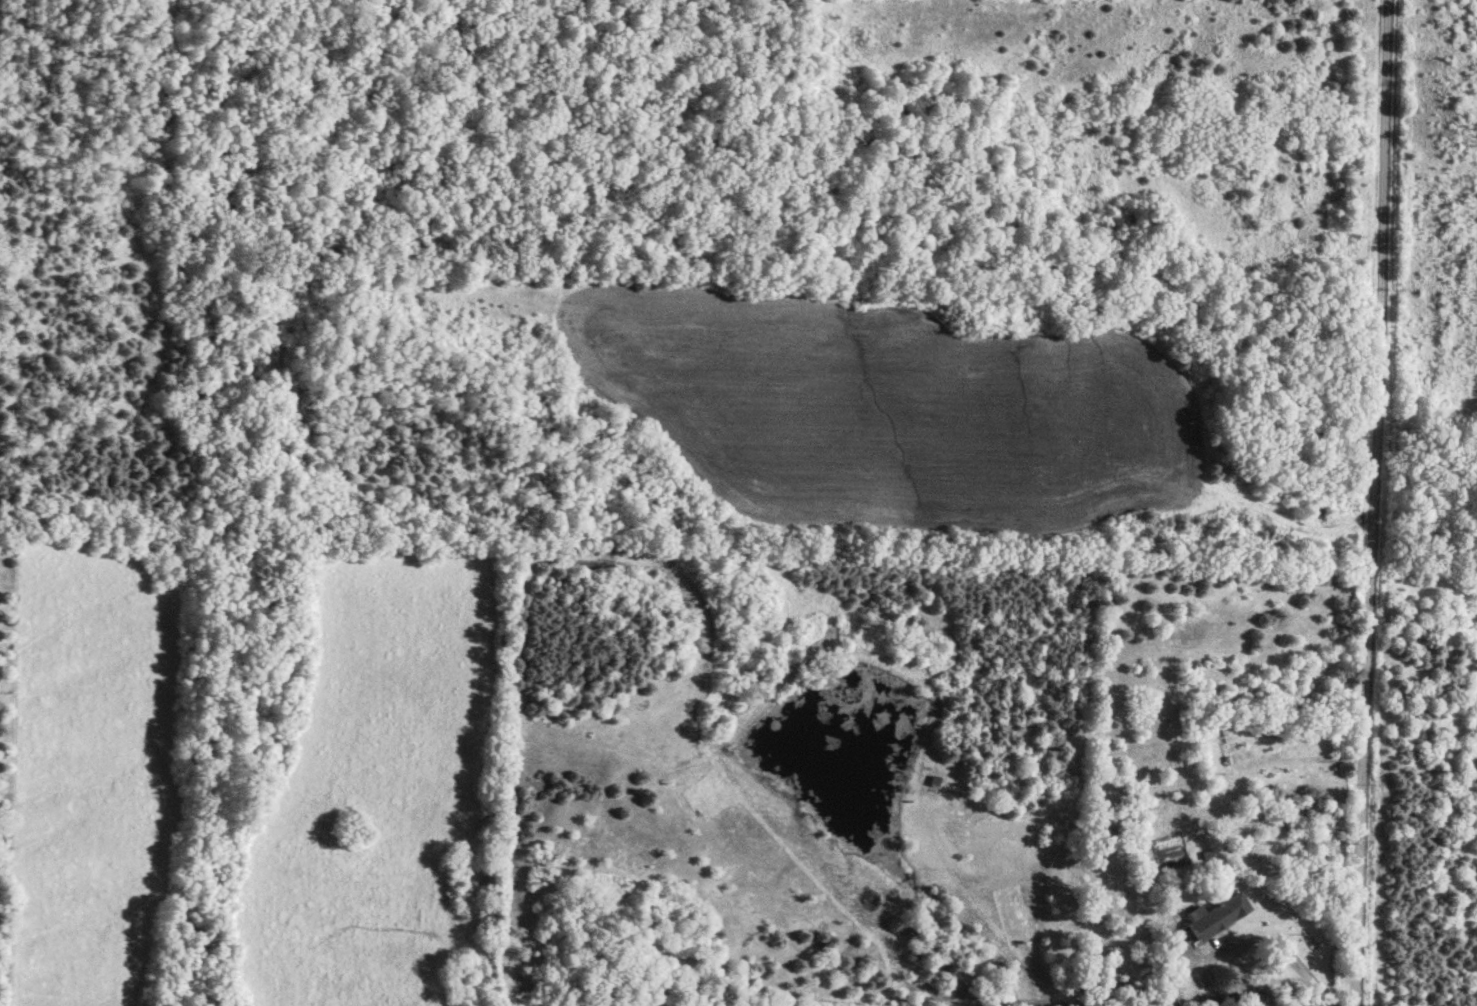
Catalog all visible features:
road: (1374, 503)
road: (1305, 757)
building: (1212, 915)
road: (1281, 946)
building: (1245, 999)

